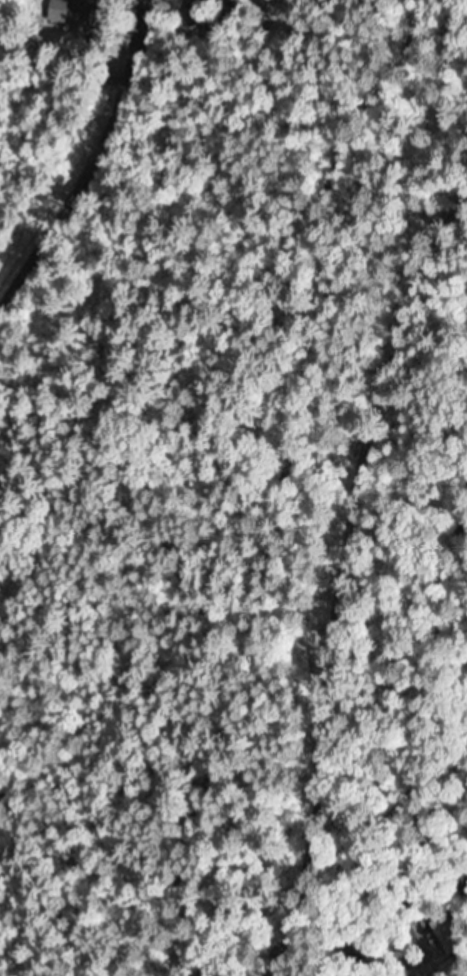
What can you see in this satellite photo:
building: (79, 9)
road: (89, 159)
road: (303, 487)
road: (465, 630)
road: (407, 790)

